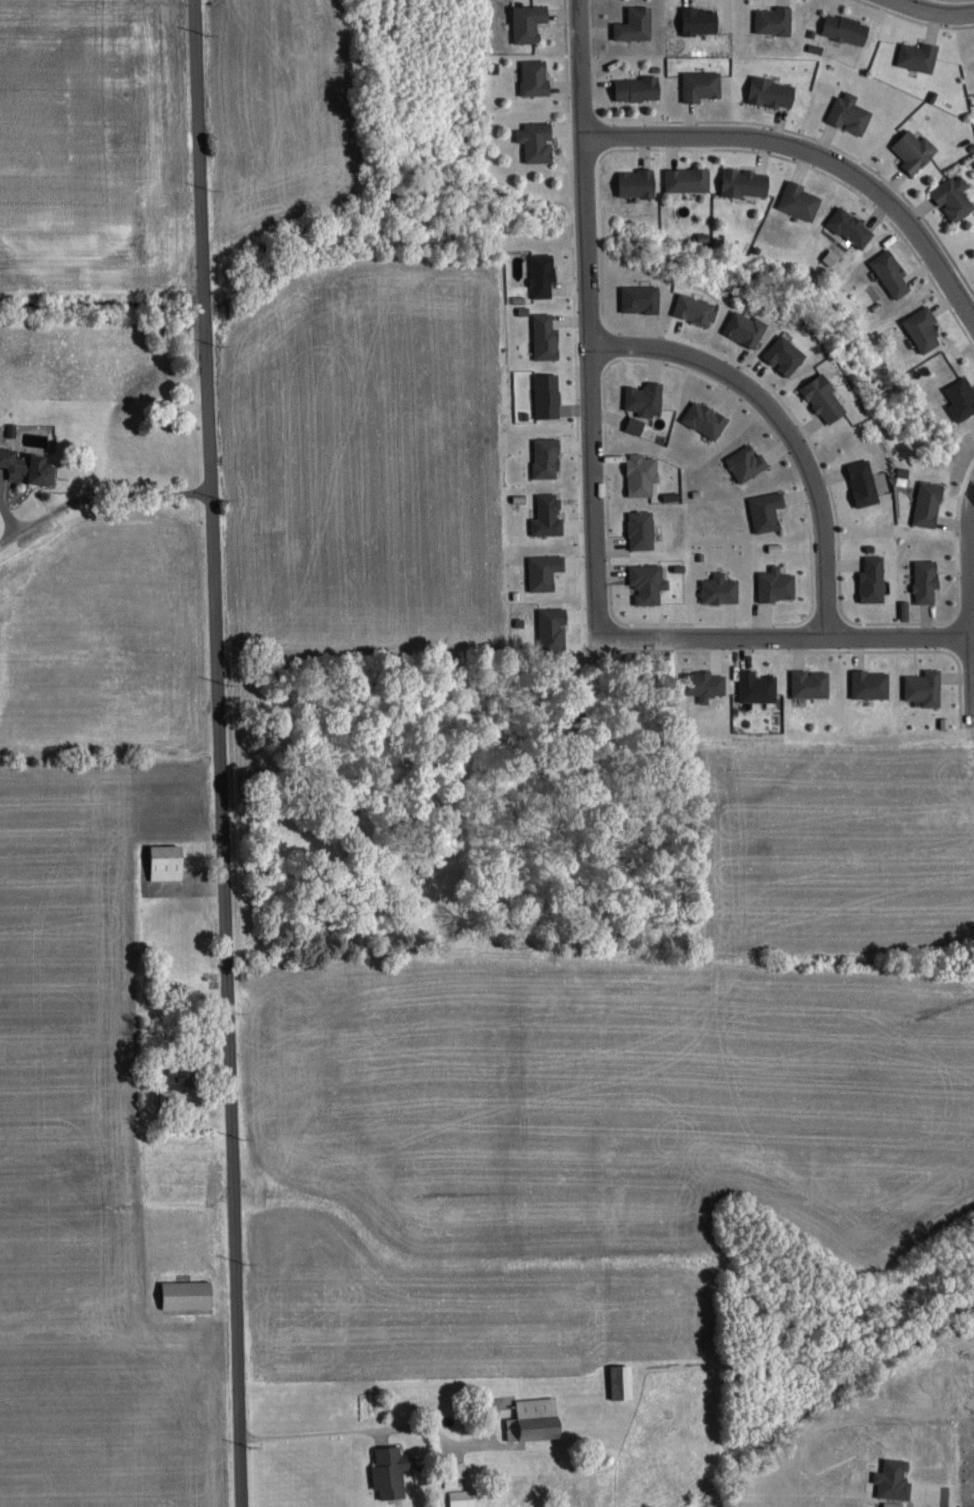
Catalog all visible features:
road: (932, 13)
building: (700, 20)
building: (775, 20)
building: (529, 23)
building: (636, 24)
building: (847, 29)
building: (920, 56)
road: (581, 68)
building: (535, 77)
building: (703, 85)
building: (639, 88)
building: (773, 92)
building: (851, 113)
building: (537, 141)
building: (916, 149)
road: (815, 159)
building: (689, 180)
building: (639, 183)
building: (746, 183)
building: (955, 196)
building: (801, 201)
building: (852, 226)
building: (892, 271)
building: (543, 273)
building: (641, 298)
building: (695, 308)
building: (746, 327)
building: (924, 328)
building: (546, 336)
building: (785, 354)
road: (590, 383)
building: (548, 394)
building: (646, 397)
building: (962, 397)
building: (825, 398)
building: (706, 418)
road: (784, 418)
building: (636, 424)
building: (547, 457)
building: (748, 462)
building: (28, 466)
building: (643, 474)
building: (864, 482)
road: (94, 498)
building: (929, 503)
building: (768, 510)
building: (549, 515)
building: (643, 529)
road: (968, 553)
building: (546, 570)
building: (874, 579)
building: (927, 579)
building: (649, 582)
building: (778, 583)
building: (721, 588)
building: (554, 629)
road: (783, 630)
road: (970, 672)
building: (812, 683)
building: (872, 683)
building: (706, 684)
building: (758, 686)
building: (925, 687)
road: (217, 723)
building: (167, 861)
building: (177, 1080)
building: (188, 1294)
building: (623, 1381)
building: (535, 1419)
road: (367, 1436)
building: (391, 1471)
building: (456, 1472)
road: (241, 1476)
building: (894, 1479)
building: (464, 1498)

